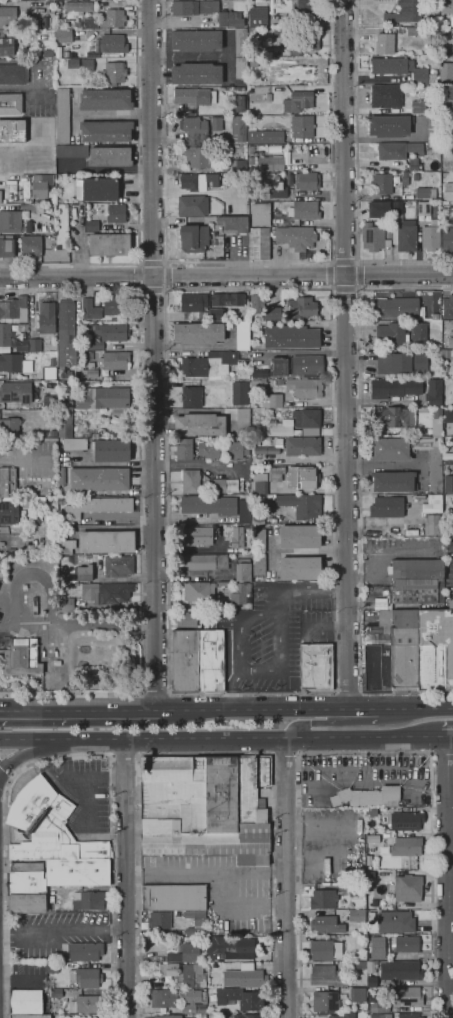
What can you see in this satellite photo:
building: (208, 6)
building: (447, 6)
building: (78, 7)
building: (184, 7)
building: (307, 9)
building: (405, 12)
building: (8, 16)
building: (257, 16)
building: (113, 18)
building: (229, 19)
building: (451, 22)
building: (88, 24)
building: (265, 30)
building: (410, 31)
building: (427, 31)
building: (63, 35)
building: (195, 40)
building: (451, 41)
building: (113, 43)
building: (386, 44)
building: (305, 45)
building: (10, 46)
building: (48, 52)
building: (240, 53)
road: (187, 56)
building: (81, 64)
building: (403, 69)
building: (446, 72)
building: (113, 73)
building: (196, 73)
building: (294, 73)
building: (13, 74)
parking lot: (40, 87)
road: (20, 89)
building: (250, 90)
building: (446, 92)
building: (386, 95)
building: (194, 96)
building: (268, 97)
building: (105, 99)
building: (298, 101)
building: (239, 103)
building: (10, 104)
building: (418, 106)
building: (62, 116)
building: (217, 123)
building: (390, 125)
building: (302, 126)
building: (417, 126)
building: (452, 126)
building: (194, 127)
building: (433, 127)
building: (238, 128)
building: (12, 130)
building: (106, 131)
building: (266, 136)
building: (259, 147)
building: (415, 147)
building: (391, 151)
building: (96, 154)
building: (197, 156)
building: (270, 163)
building: (239, 165)
road: (357, 177)
building: (236, 179)
building: (198, 181)
building: (307, 181)
building: (405, 181)
building: (381, 183)
building: (41, 185)
building: (277, 188)
building: (96, 189)
building: (449, 191)
building: (424, 192)
building: (0, 196)
road: (138, 200)
building: (192, 205)
building: (423, 208)
building: (378, 209)
building: (304, 210)
building: (116, 213)
building: (260, 214)
building: (10, 221)
building: (233, 224)
building: (92, 225)
building: (403, 229)
building: (388, 232)
building: (373, 237)
building: (430, 237)
building: (193, 238)
building: (447, 239)
building: (296, 240)
building: (258, 242)
building: (109, 244)
building: (7, 246)
building: (31, 246)
road: (344, 260)
road: (152, 261)
road: (247, 261)
road: (135, 275)
road: (358, 275)
road: (166, 276)
road: (330, 276)
road: (226, 277)
road: (344, 290)
road: (151, 291)
building: (227, 299)
building: (193, 302)
building: (258, 303)
building: (115, 305)
building: (301, 307)
building: (397, 307)
building: (448, 307)
building: (90, 309)
building: (13, 310)
building: (273, 313)
building: (215, 314)
building: (46, 318)
building: (111, 332)
building: (392, 332)
building: (66, 333)
building: (198, 333)
building: (419, 333)
building: (242, 335)
building: (291, 336)
building: (11, 338)
building: (450, 339)
building: (38, 344)
building: (94, 346)
building: (445, 352)
road: (345, 353)
road: (152, 354)
building: (114, 360)
building: (401, 362)
building: (14, 363)
building: (212, 363)
building: (307, 364)
building: (279, 366)
building: (49, 373)
building: (90, 373)
building: (256, 373)
building: (279, 381)
building: (258, 384)
building: (304, 387)
building: (394, 387)
building: (15, 392)
building: (238, 392)
building: (434, 392)
building: (191, 396)
building: (452, 397)
building: (103, 398)
building: (273, 401)
building: (50, 402)
building: (447, 414)
building: (64, 415)
building: (391, 418)
building: (243, 419)
building: (295, 422)
building: (199, 424)
building: (9, 427)
building: (436, 427)
building: (278, 442)
building: (74, 443)
building: (302, 446)
building: (184, 449)
building: (391, 449)
building: (111, 450)
building: (209, 450)
building: (237, 450)
building: (266, 450)
parking lot: (29, 455)
road: (24, 458)
building: (432, 459)
building: (448, 462)
building: (276, 473)
building: (61, 476)
building: (301, 477)
building: (99, 479)
building: (7, 481)
building: (190, 481)
building: (393, 481)
building: (223, 485)
building: (260, 487)
road: (359, 490)
road: (139, 493)
building: (419, 497)
building: (301, 504)
building: (433, 504)
building: (208, 505)
building: (99, 506)
building: (387, 507)
building: (244, 510)
building: (8, 512)
building: (433, 524)
building: (246, 526)
building: (197, 535)
building: (300, 536)
building: (237, 537)
building: (258, 540)
building: (107, 541)
building: (66, 546)
building: (203, 562)
building: (258, 564)
building: (118, 566)
parking lot: (448, 566)
building: (299, 568)
building: (242, 571)
building: (84, 573)
building: (418, 574)
building: (223, 583)
road: (14, 590)
road: (298, 590)
building: (199, 591)
building: (106, 593)
building: (240, 593)
building: (415, 595)
building: (66, 604)
building: (34, 605)
road: (261, 612)
building: (186, 618)
road: (77, 625)
building: (400, 625)
parking lot: (316, 627)
building: (89, 632)
parking lot: (271, 633)
building: (438, 636)
building: (21, 657)
building: (198, 660)
building: (316, 667)
building: (404, 667)
building: (431, 667)
building: (376, 669)
road: (348, 691)
road: (155, 692)
road: (170, 692)
road: (303, 706)
road: (77, 710)
road: (352, 721)
road: (422, 729)
road: (259, 737)
road: (33, 739)
road: (30, 749)
road: (443, 751)
road: (432, 752)
road: (364, 753)
road: (204, 754)
road: (123, 755)
road: (68, 756)
road: (284, 757)
road: (4, 769)
road: (11, 775)
road: (364, 781)
building: (253, 786)
building: (221, 793)
building: (370, 796)
building: (40, 811)
building: (371, 811)
building: (189, 814)
building: (406, 820)
building: (372, 838)
building: (406, 846)
building: (68, 860)
road: (252, 871)
building: (370, 875)
road: (446, 876)
road: (285, 877)
road: (124, 878)
road: (220, 878)
building: (27, 888)
building: (407, 888)
building: (355, 891)
building: (174, 897)
building: (323, 899)
building: (88, 900)
building: (356, 915)
building: (371, 916)
building: (159, 919)
building: (197, 921)
building: (395, 921)
building: (326, 925)
road: (110, 929)
road: (48, 931)
building: (407, 943)
building: (377, 947)
building: (325, 948)
building: (231, 949)
building: (85, 951)
building: (186, 953)
building: (360, 964)
building: (371, 966)
building: (52, 968)
building: (401, 970)
building: (185, 974)
building: (327, 975)
building: (86, 977)
building: (245, 978)
building: (372, 981)
building: (55, 992)
building: (357, 995)
building: (408, 997)
building: (163, 998)
building: (240, 998)
building: (192, 1001)
building: (325, 1001)
building: (25, 1002)
building: (86, 1004)
building: (379, 1005)
building: (343, 1015)
building: (408, 1015)
building: (31, 1016)
building: (167, 1016)
building: (248, 1016)

